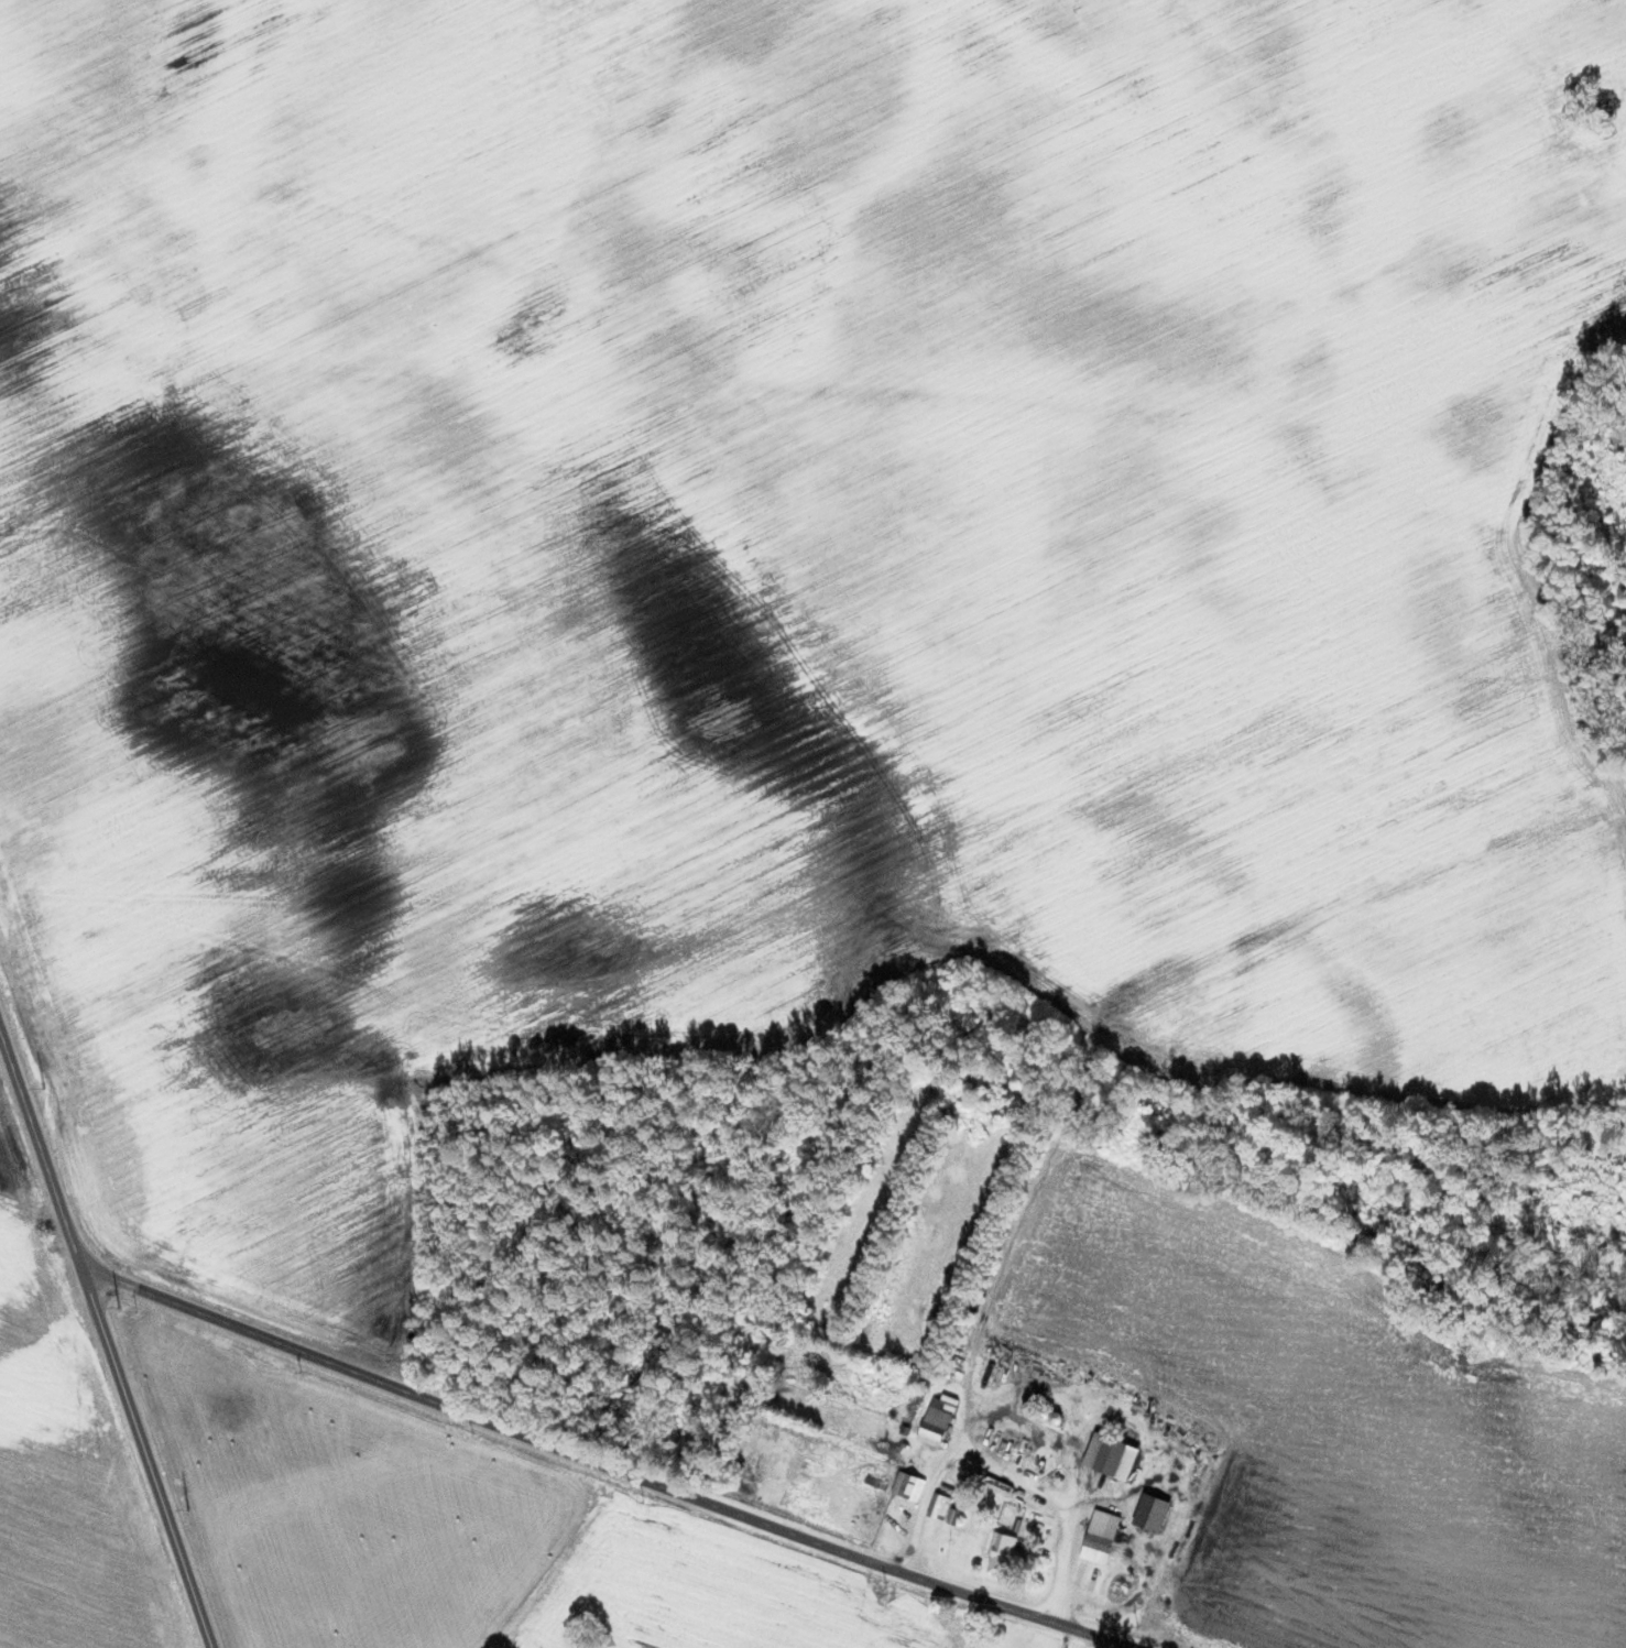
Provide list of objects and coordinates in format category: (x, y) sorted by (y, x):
road: (109, 1340)
building: (935, 1426)
building: (1111, 1455)
road: (607, 1466)
building: (908, 1485)
building: (938, 1506)
building: (1152, 1513)
building: (1100, 1537)
building: (1002, 1553)

